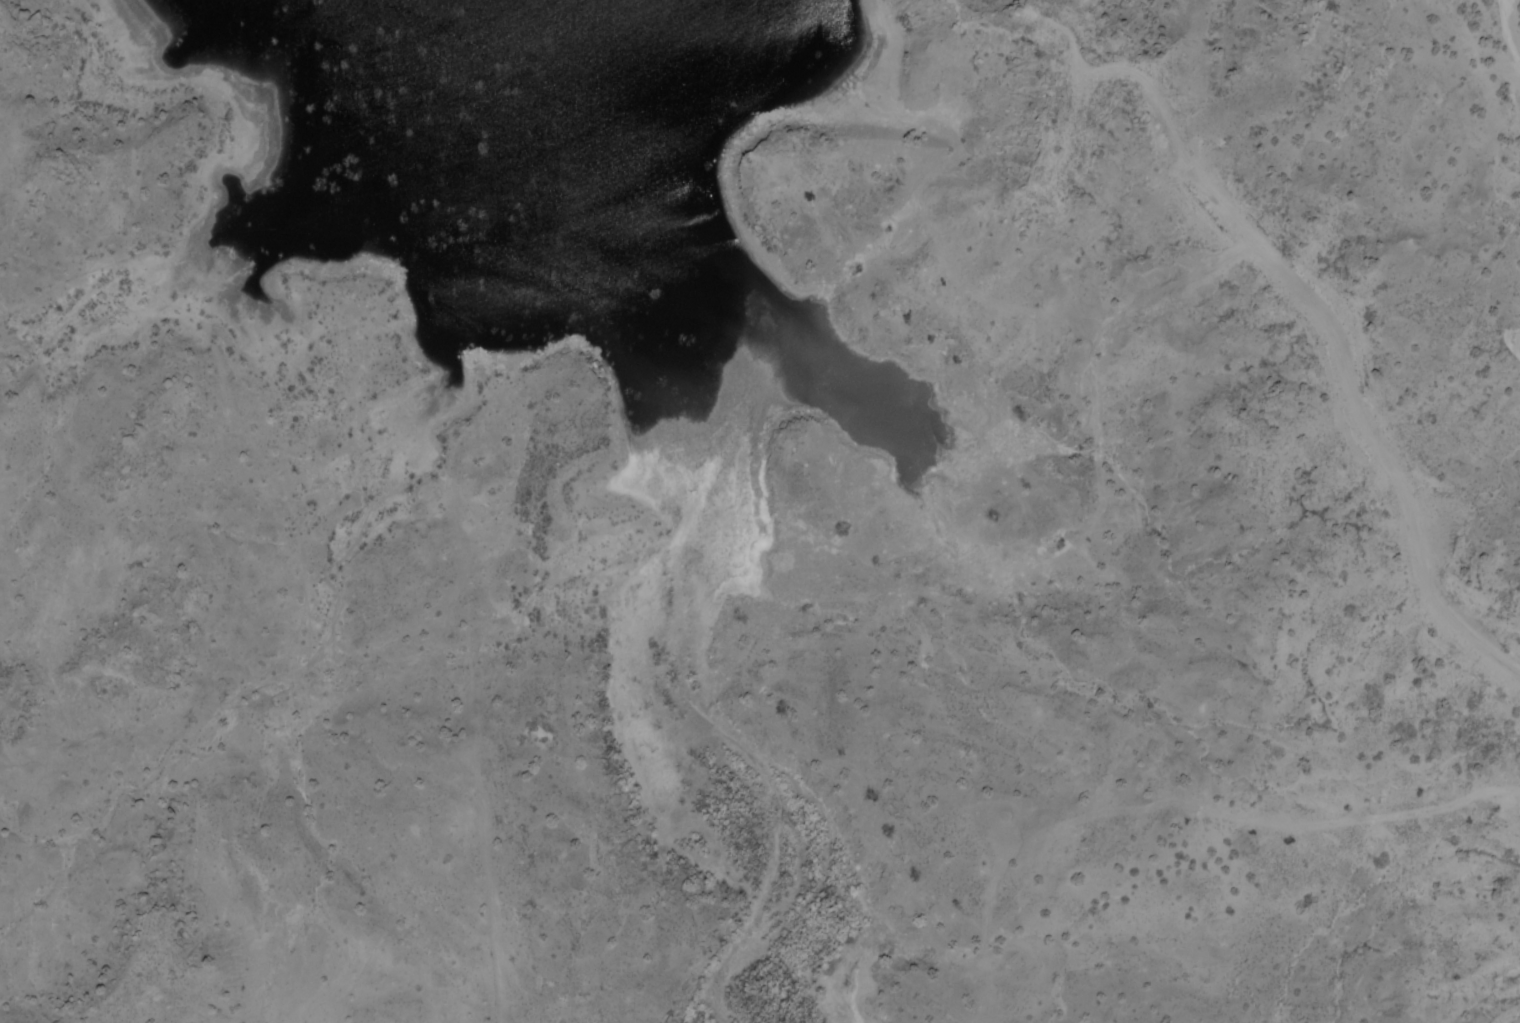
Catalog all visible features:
road: (1363, 421)

